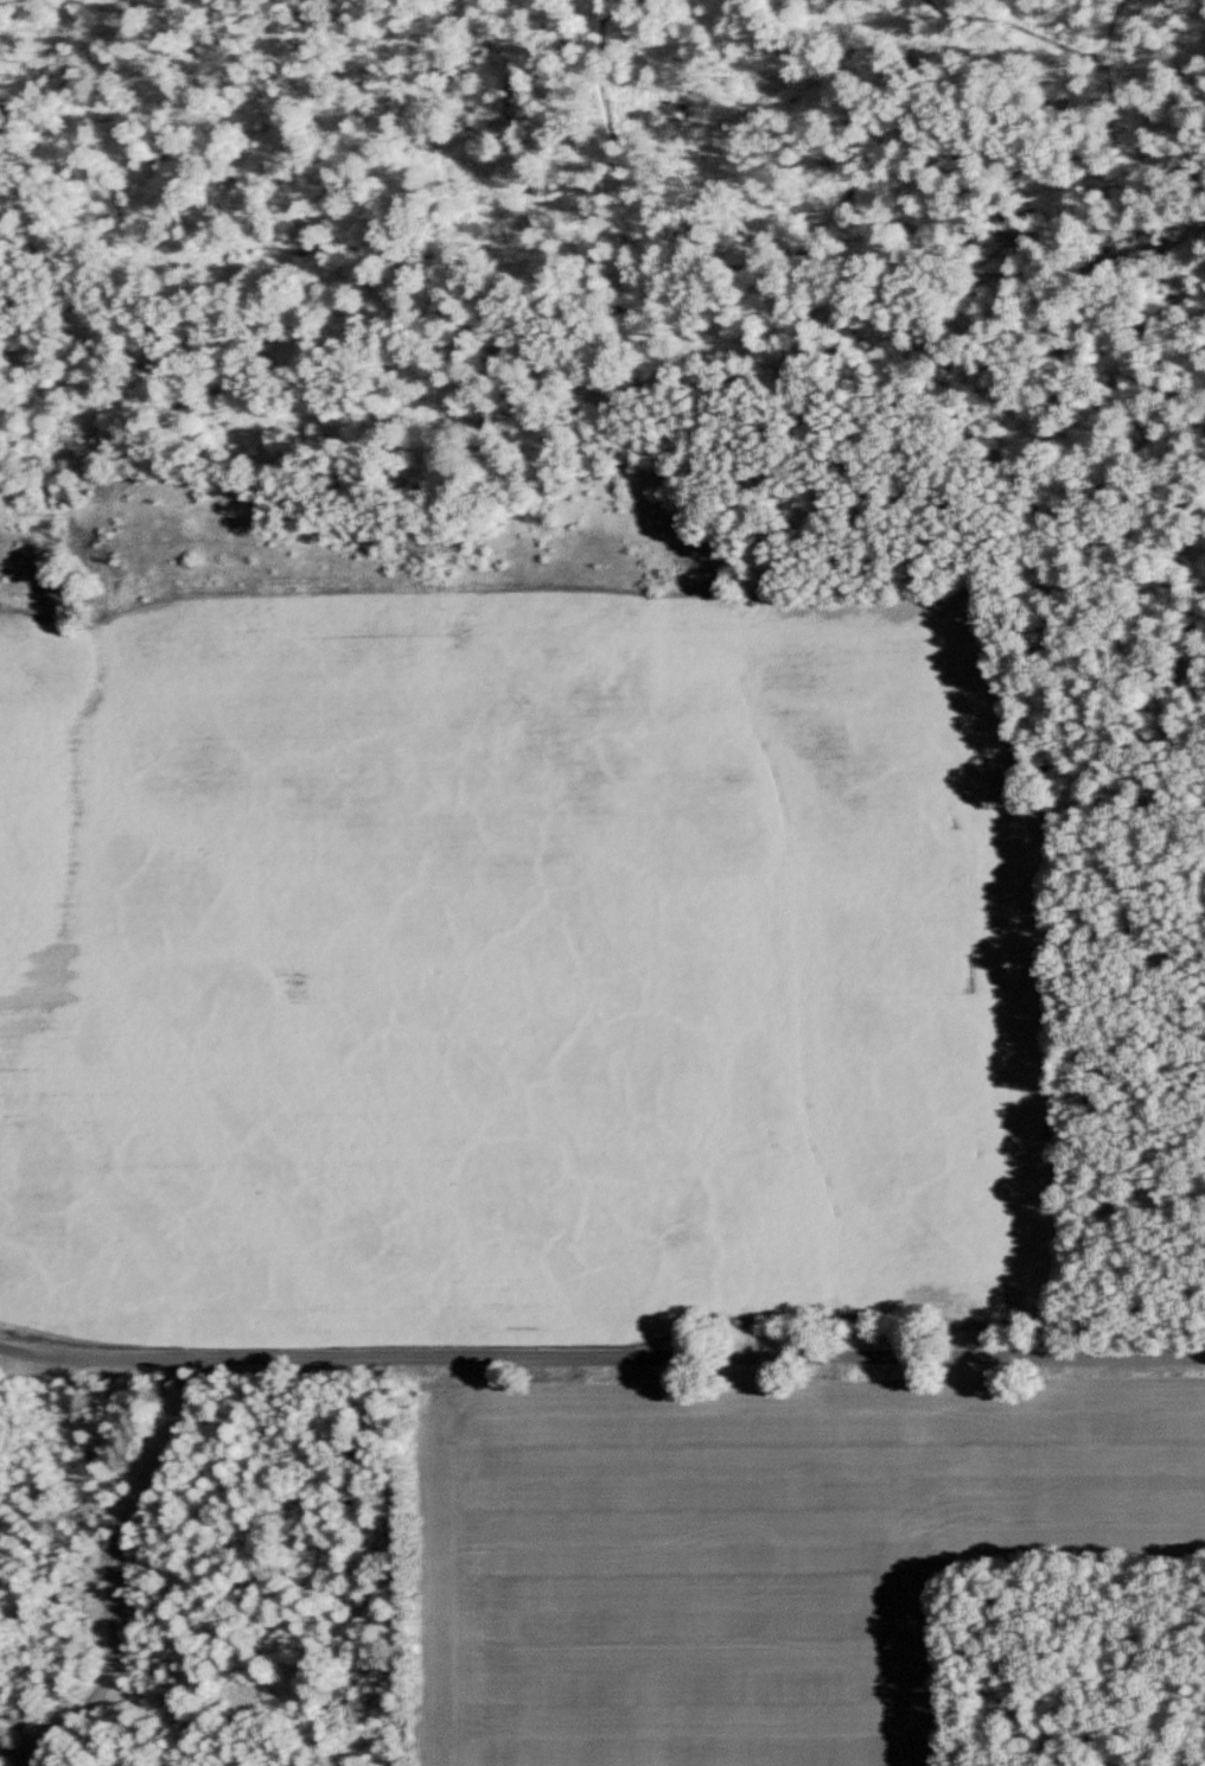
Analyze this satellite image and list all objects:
road: (601, 1354)
road: (111, 1561)

